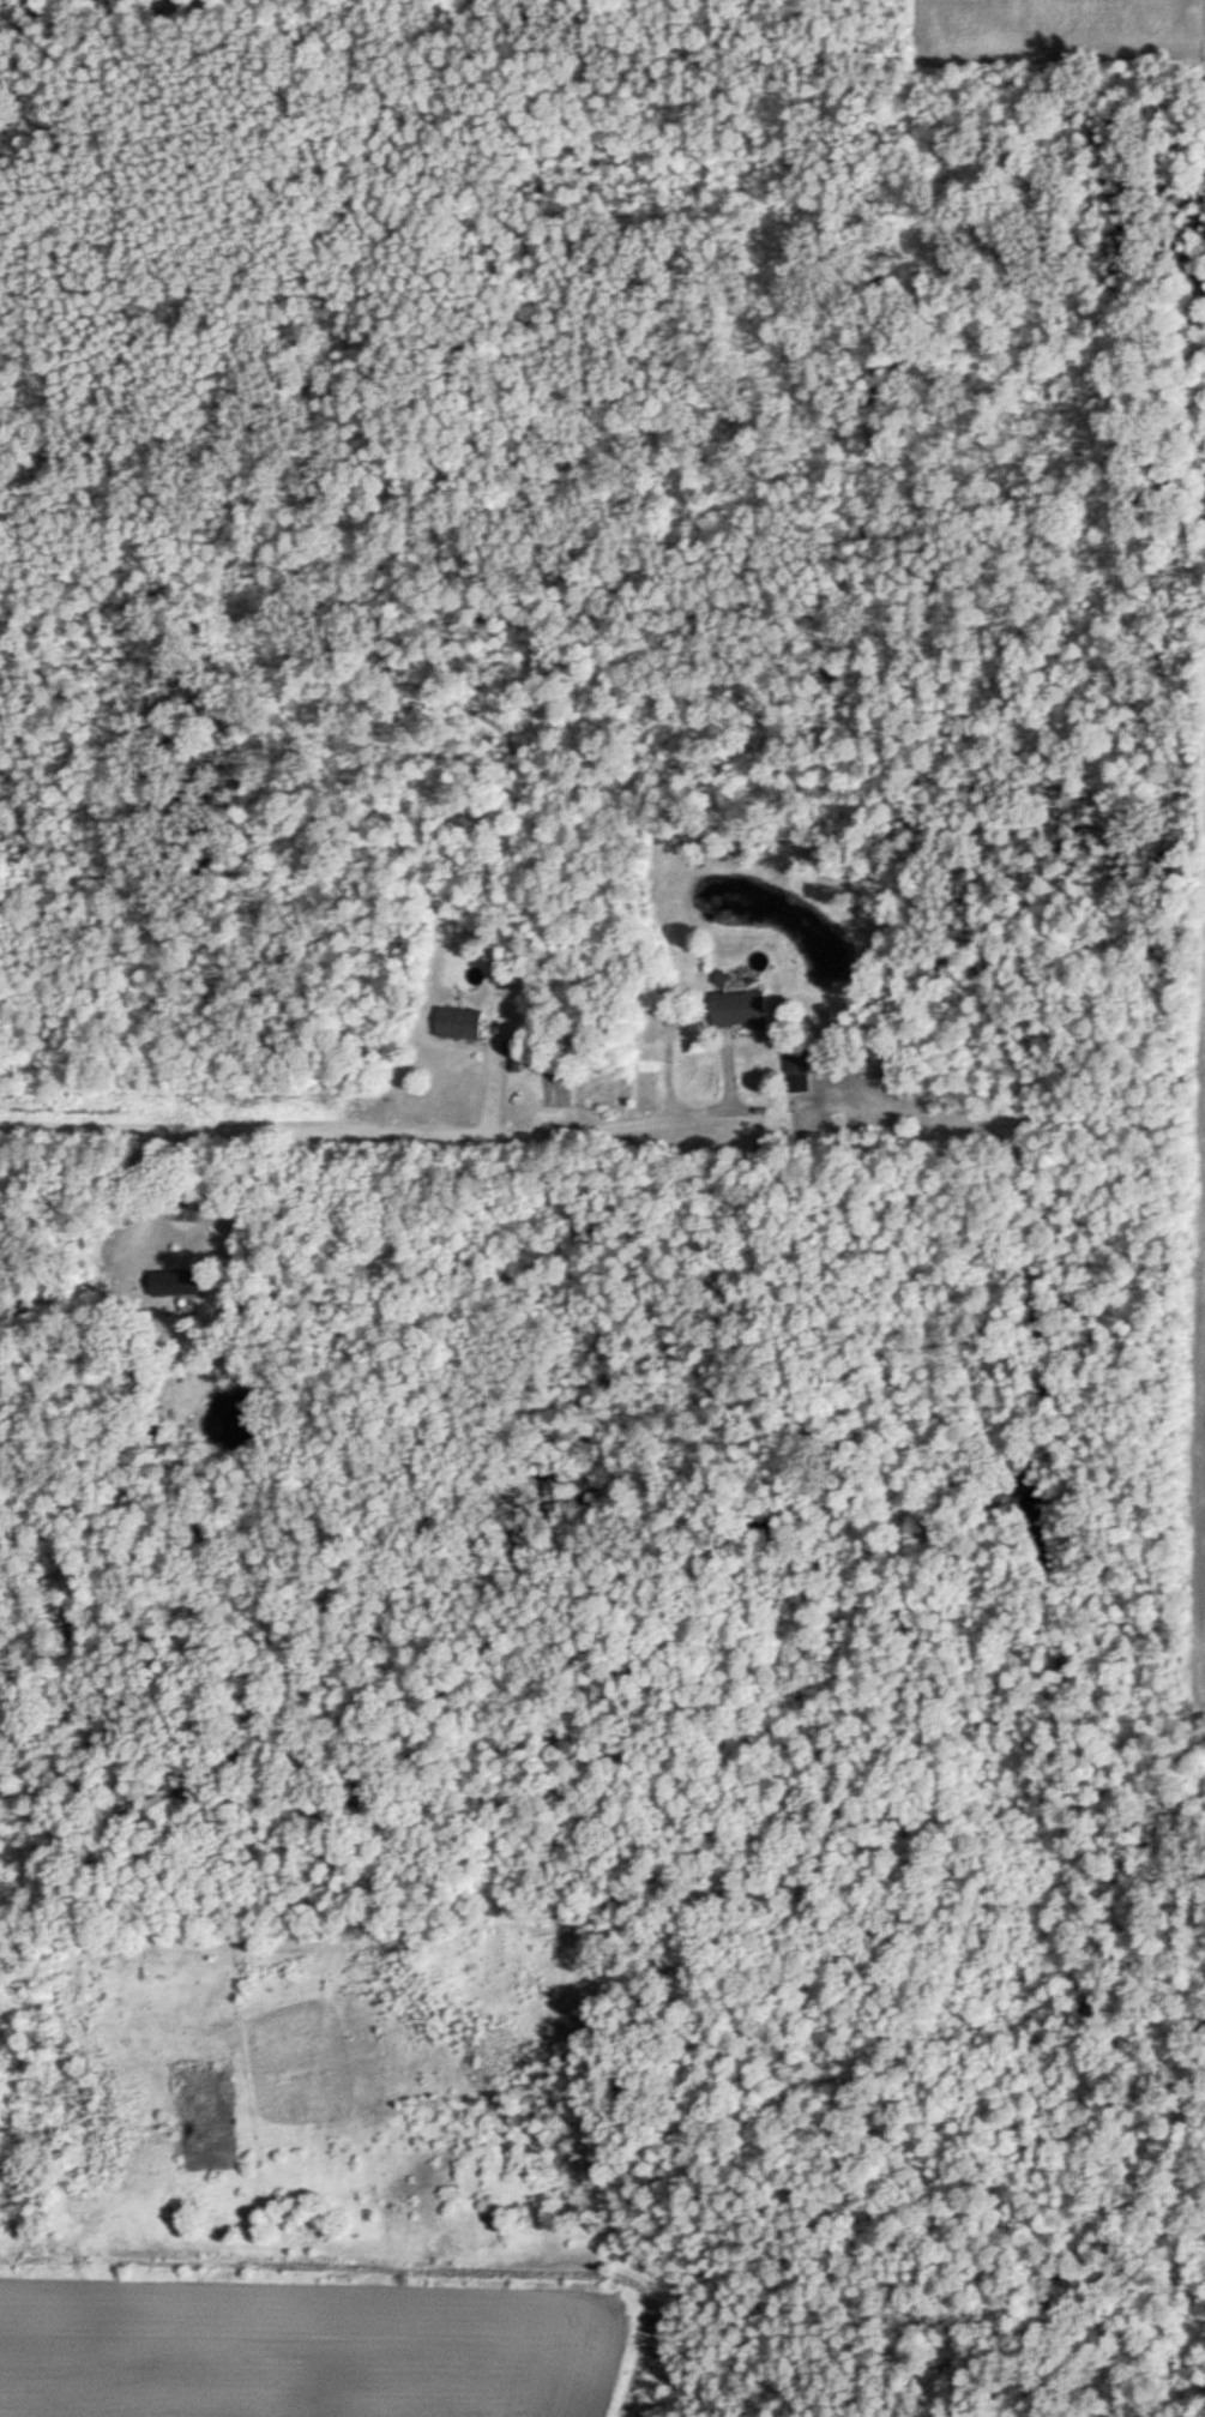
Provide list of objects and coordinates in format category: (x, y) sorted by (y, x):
building: (453, 1022)
road: (359, 1129)
building: (164, 1282)

